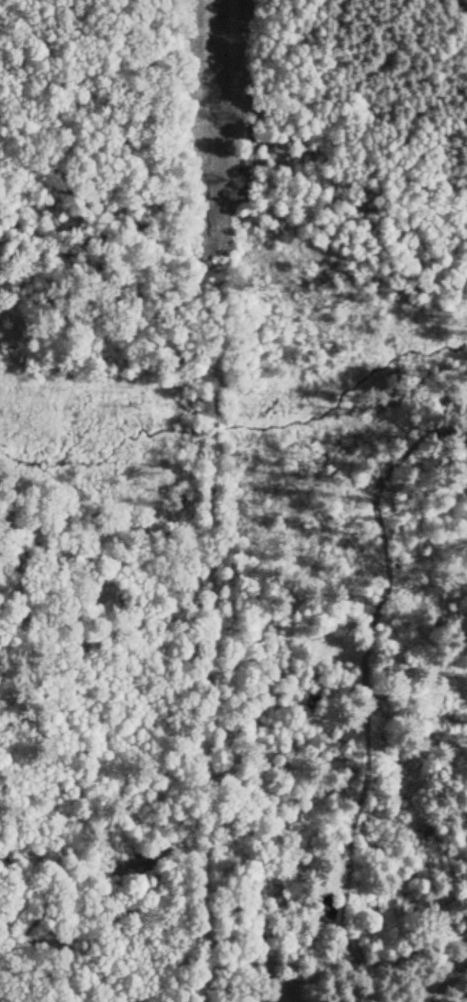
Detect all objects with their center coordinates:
road: (441, 971)

